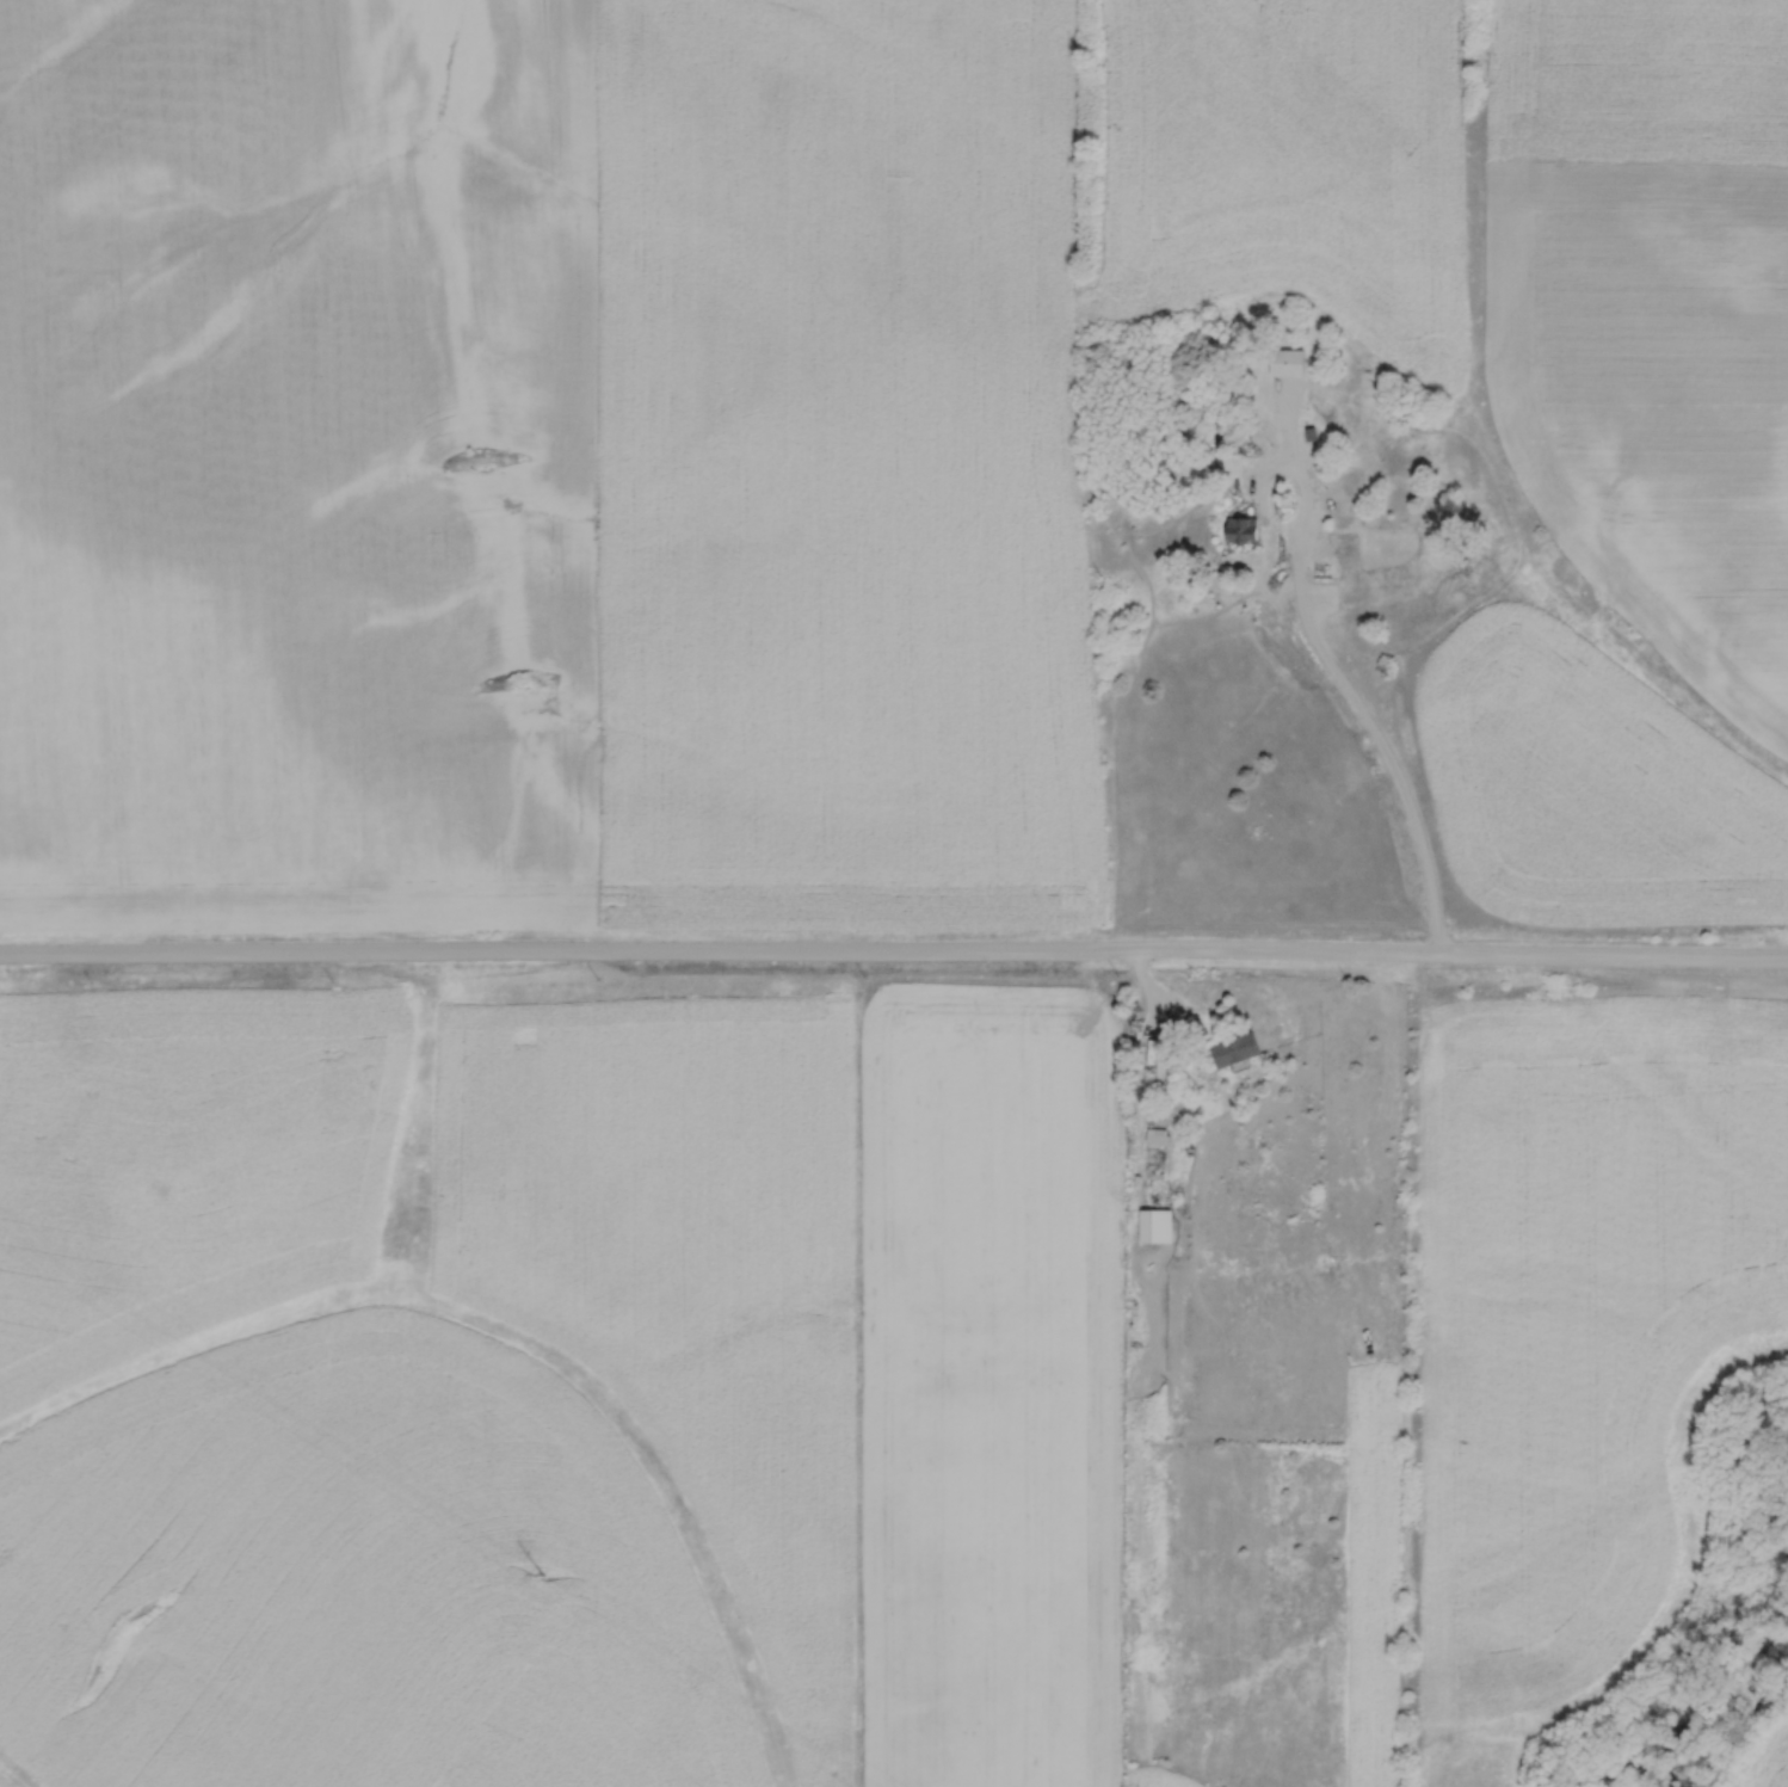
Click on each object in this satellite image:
building: (1287, 364)
building: (1241, 531)
building: (1324, 574)
road: (1343, 688)
road: (894, 954)
building: (1233, 1048)
road: (1195, 1061)
building: (1167, 1065)
building: (181, 1219)
building: (1154, 1226)
building: (284, 1231)
power tower: (547, 1575)

